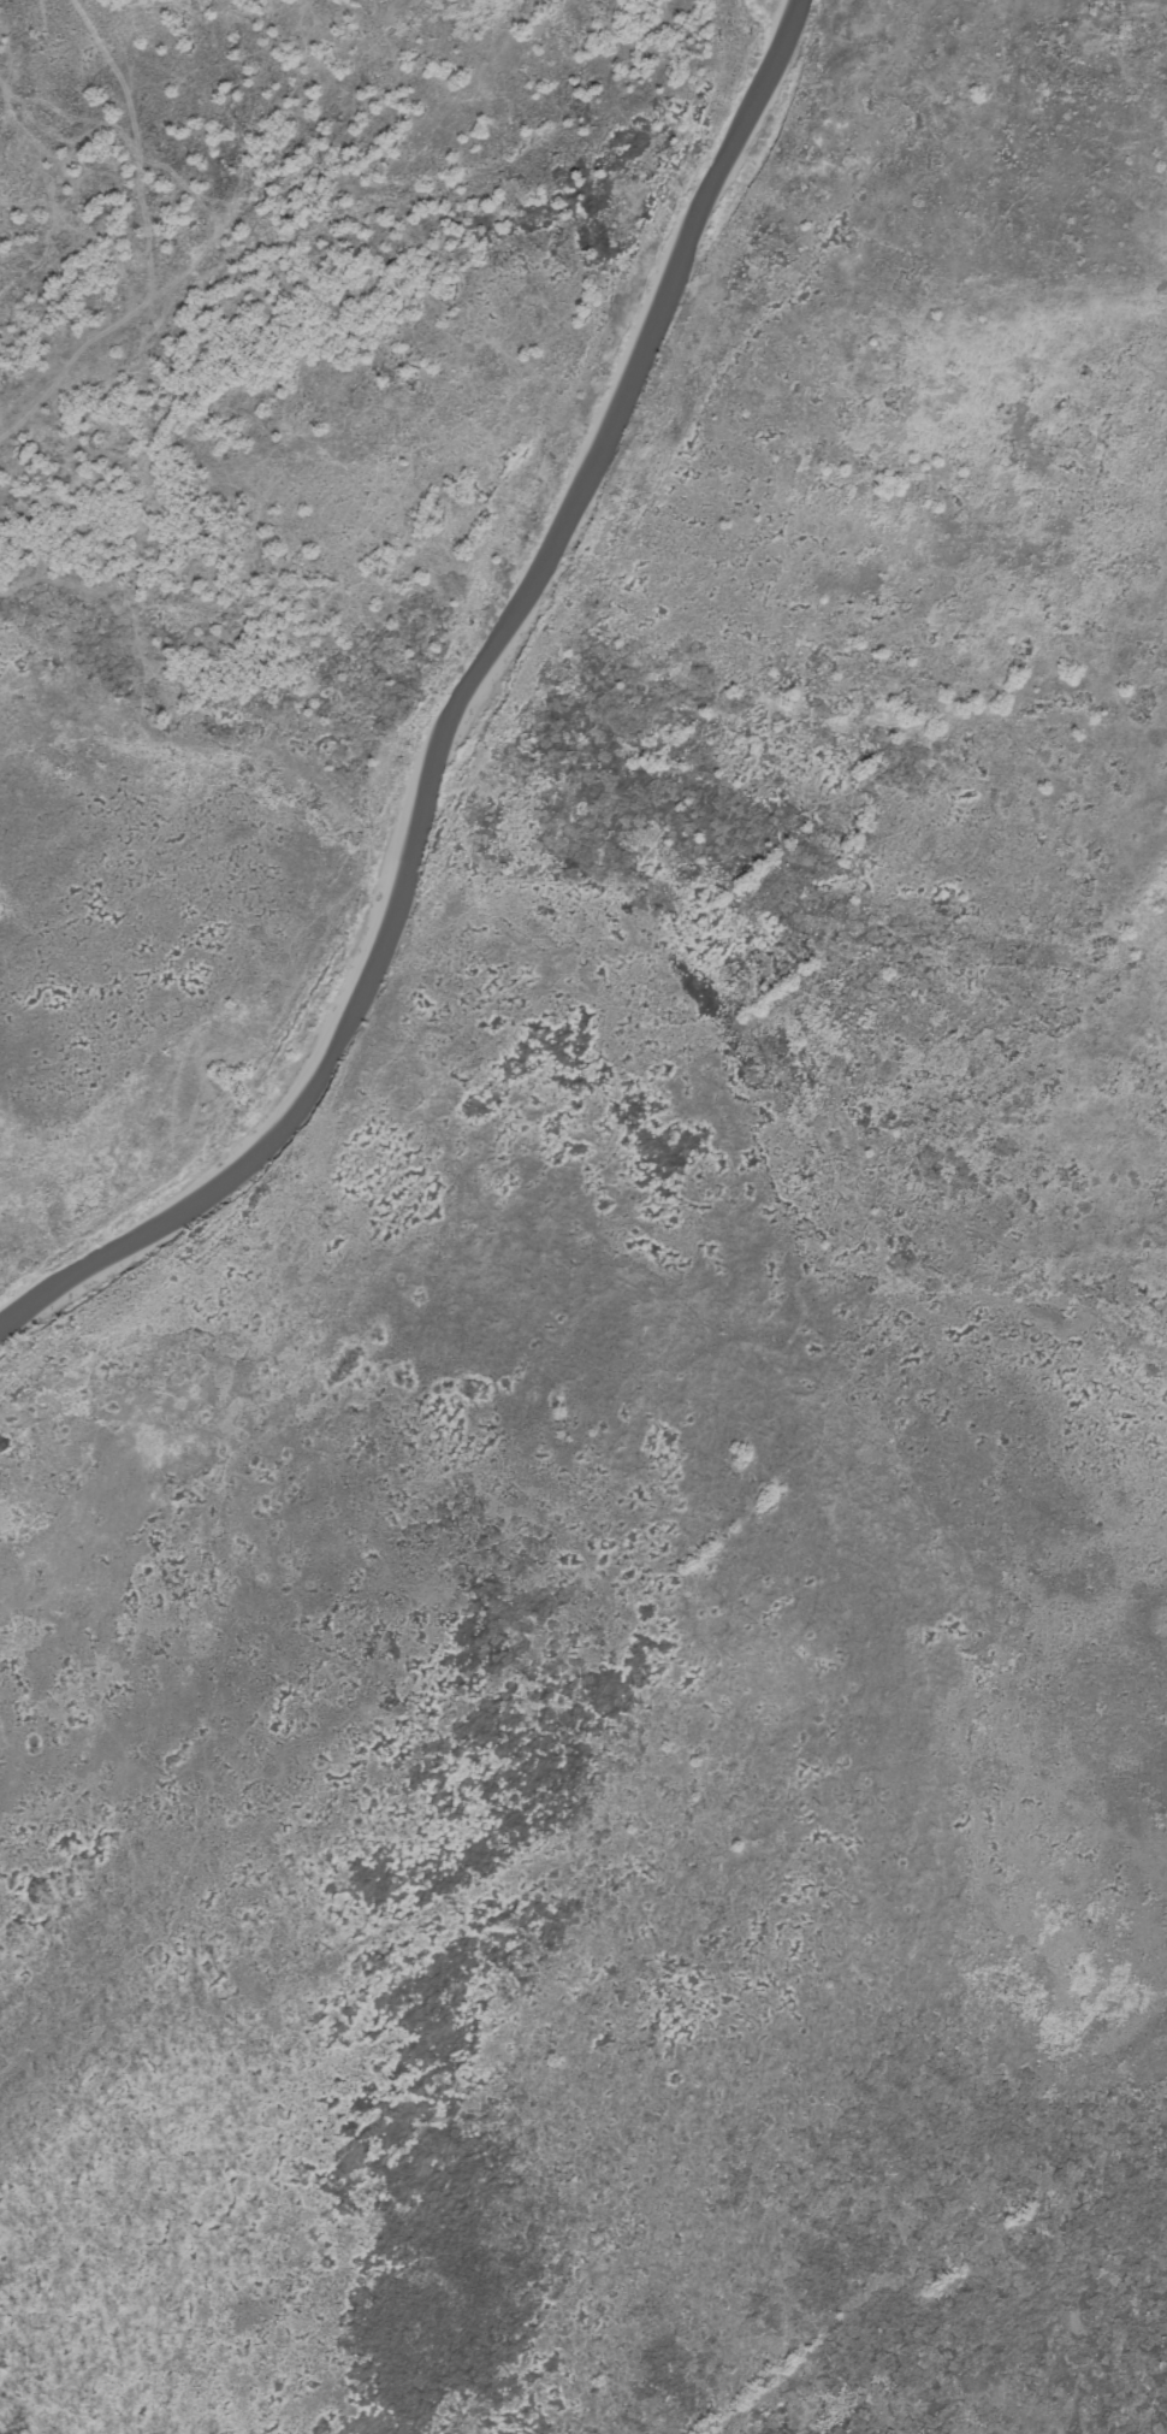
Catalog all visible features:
river: (472, 719)

